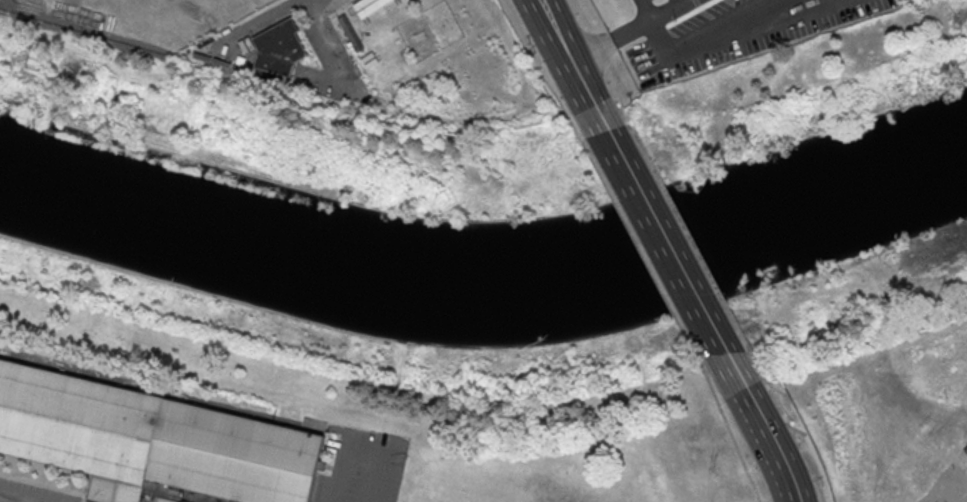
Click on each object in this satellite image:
building: (370, 8)
road: (649, 8)
road: (627, 31)
road: (708, 31)
building: (281, 48)
road: (571, 65)
road: (686, 230)
road: (662, 243)
road: (645, 256)
river: (486, 284)
park: (504, 360)
road: (791, 424)
road: (760, 426)
road: (732, 437)
building: (151, 441)
road: (360, 450)
parking lot: (360, 466)
parking lot: (31, 493)
road: (3, 501)

